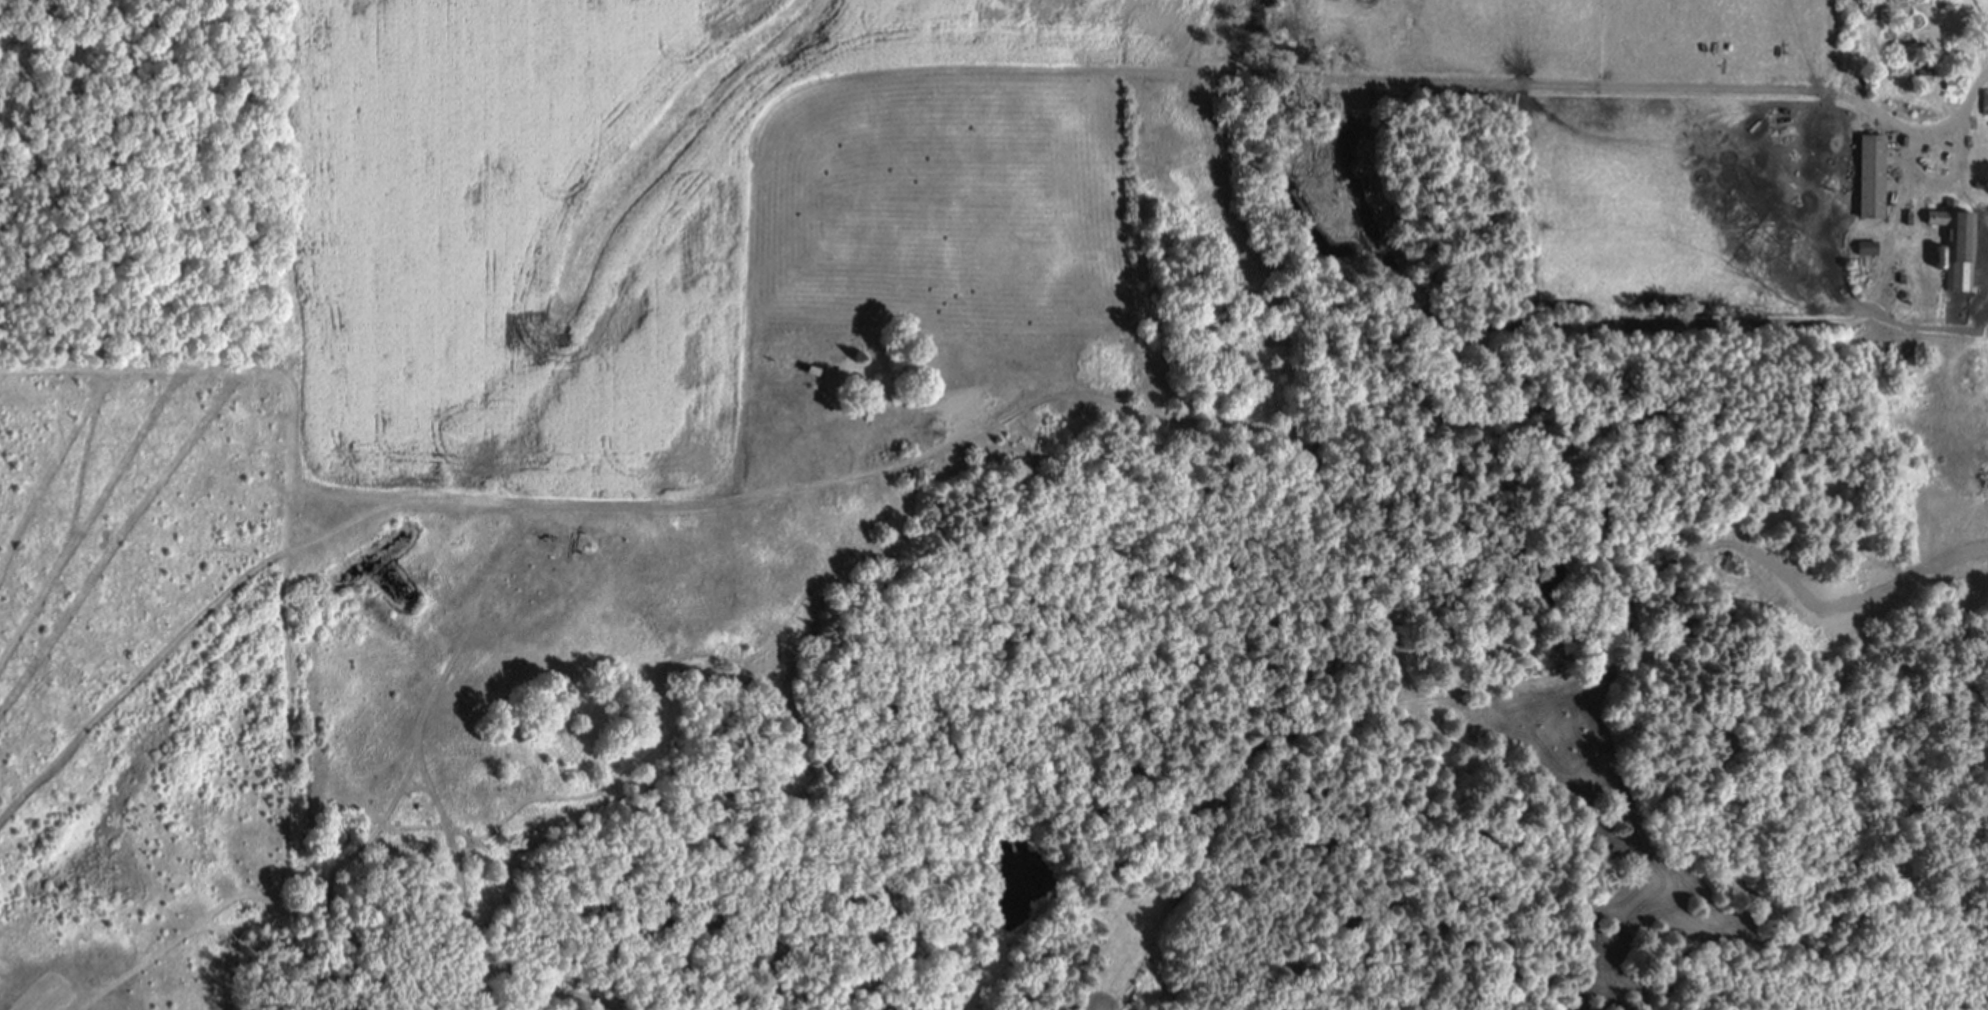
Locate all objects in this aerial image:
building: (1984, 103)
road: (1953, 115)
building: (1868, 176)
building: (1930, 218)
building: (1862, 248)
building: (1957, 251)

